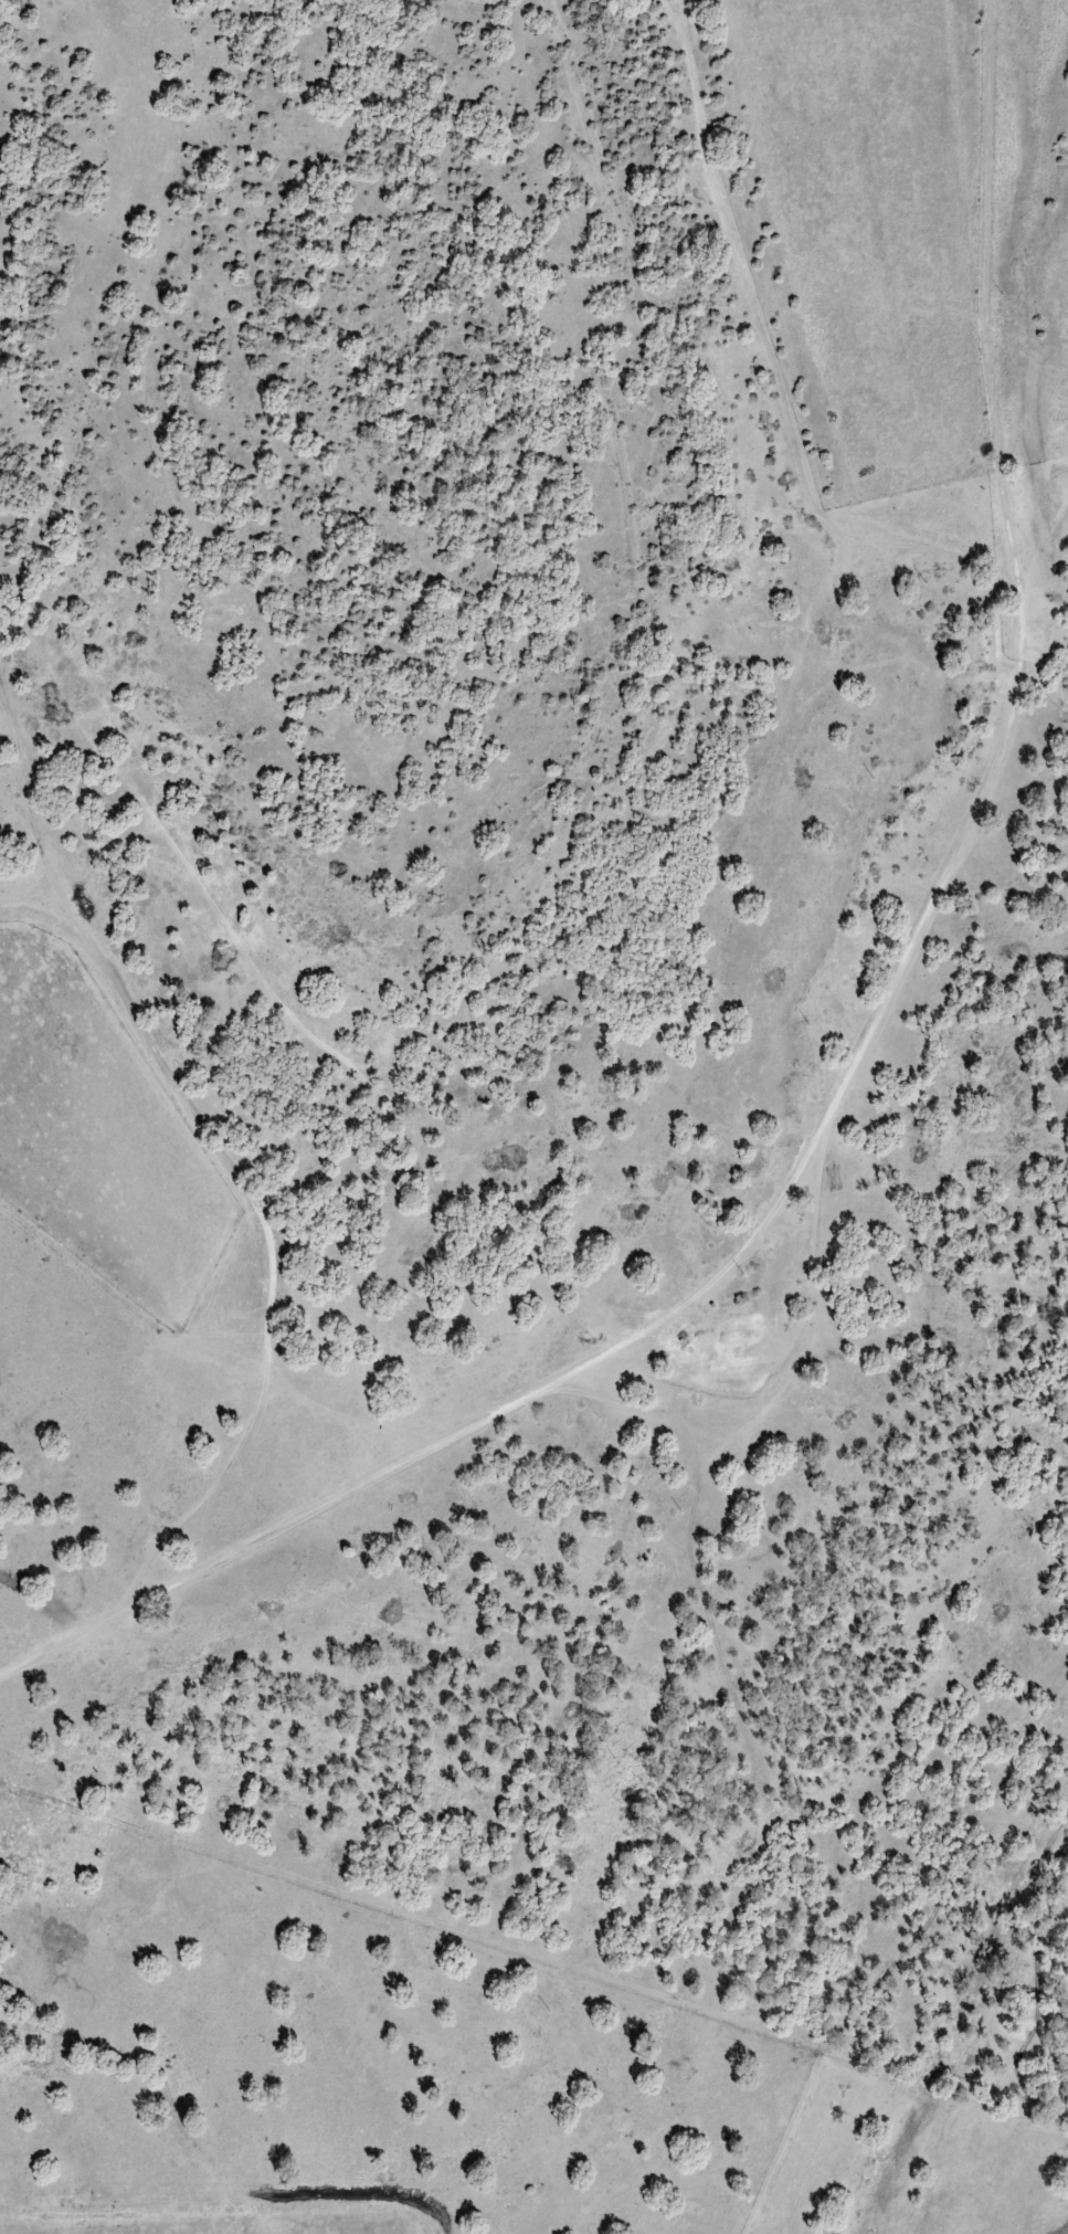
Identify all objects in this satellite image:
road: (730, 1244)
road: (208, 1561)

